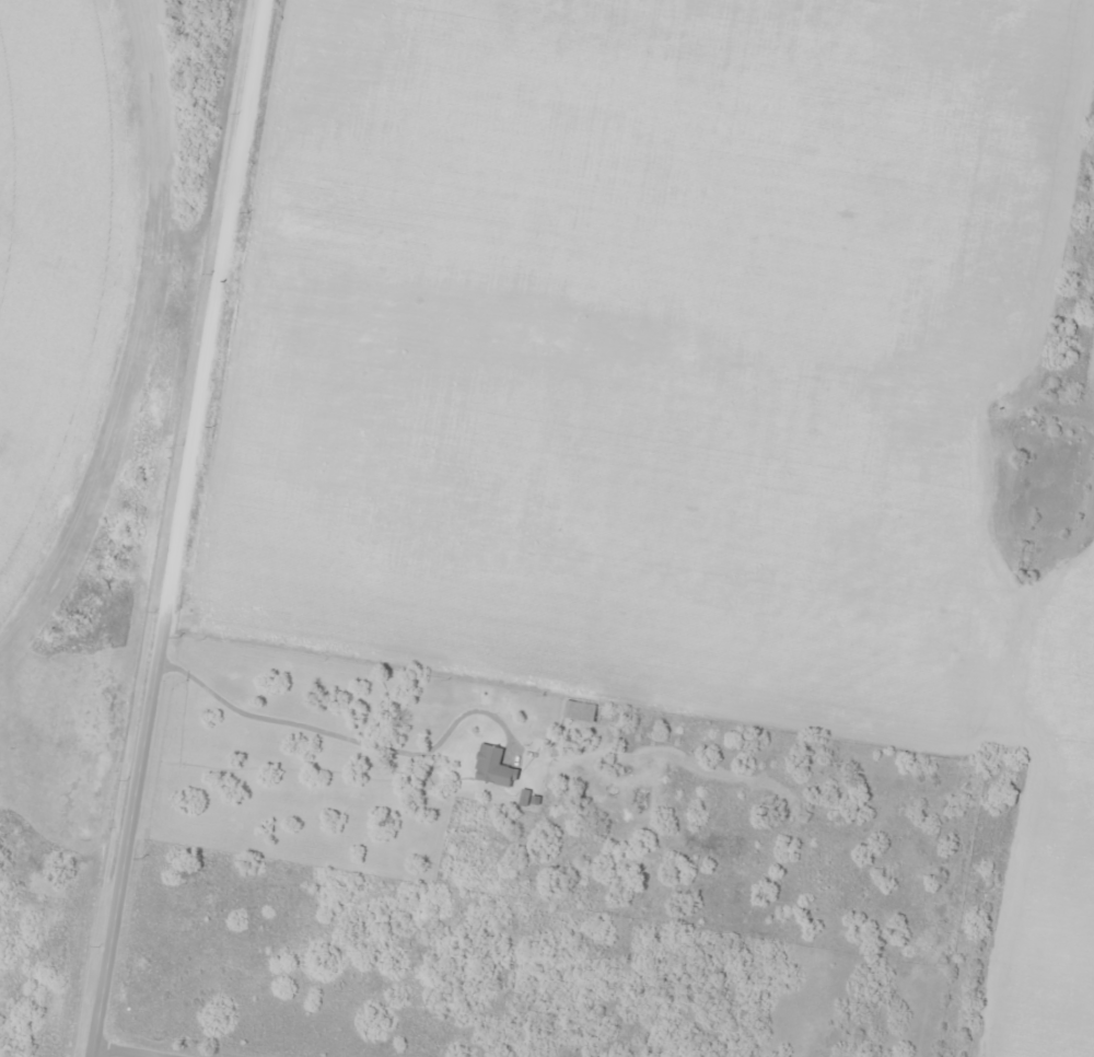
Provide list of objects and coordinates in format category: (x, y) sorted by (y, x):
road: (452, 60)
road: (560, 373)
road: (187, 526)
building: (493, 767)
road: (120, 1054)

